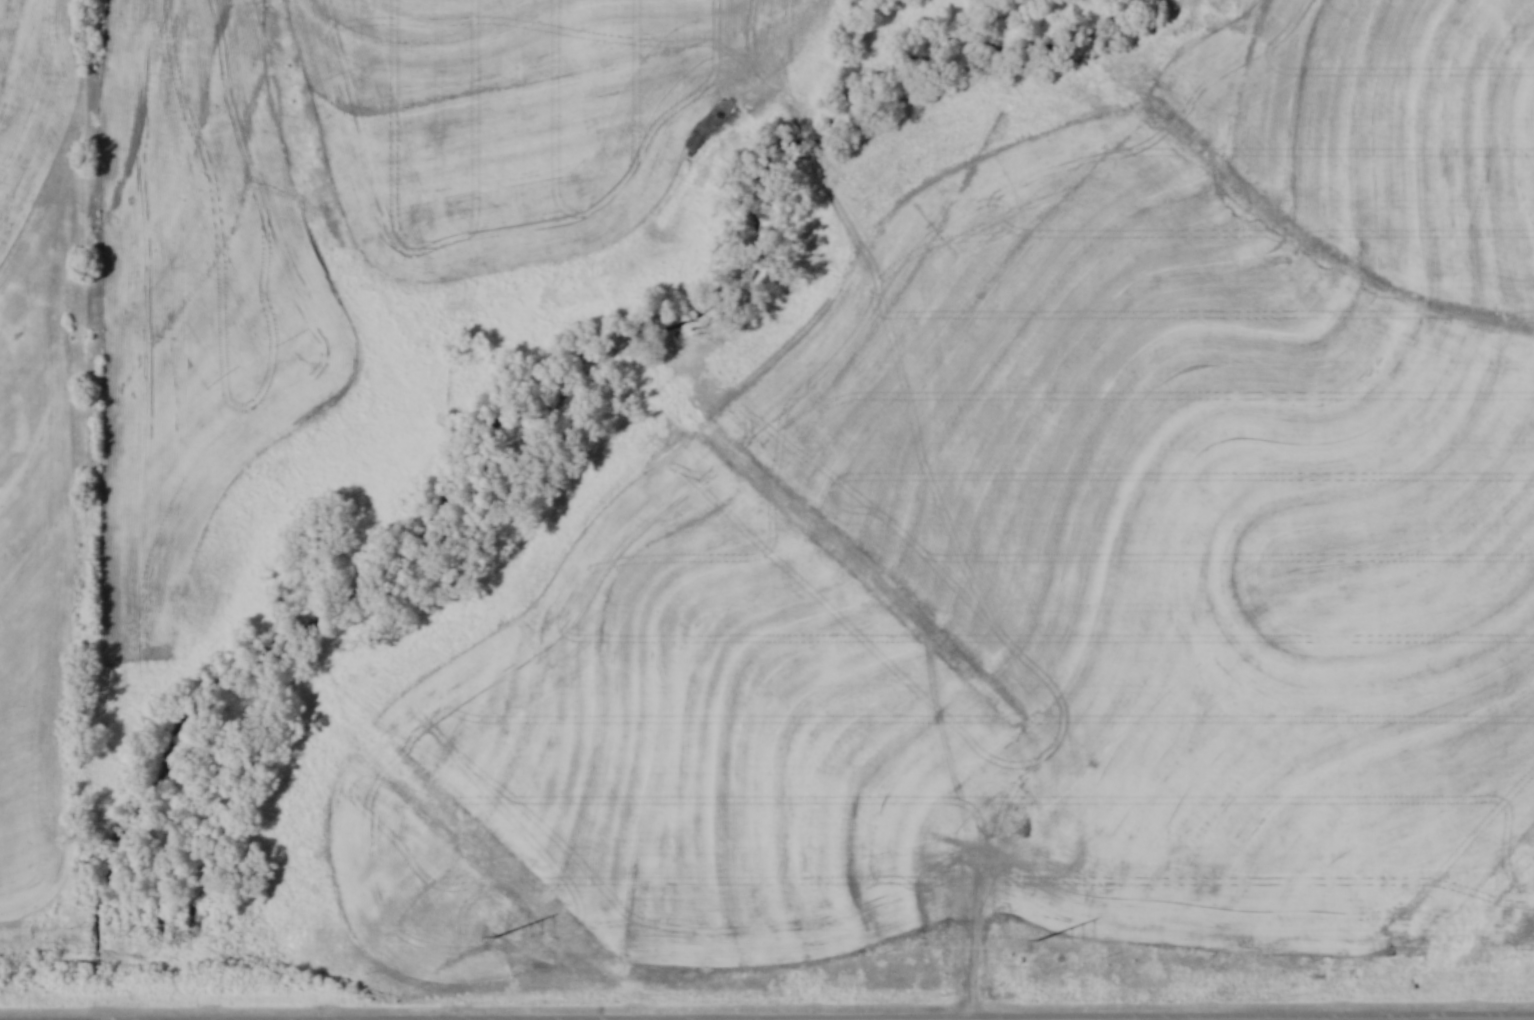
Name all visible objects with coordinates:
power tower: (493, 938)
power tower: (1042, 940)

